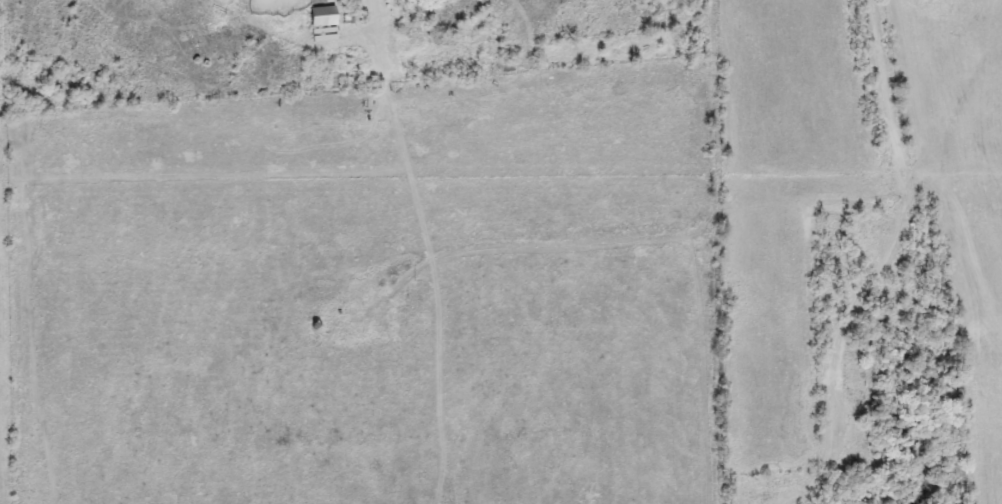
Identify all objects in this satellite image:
building: (317, 1)
building: (323, 16)
road: (555, 60)

